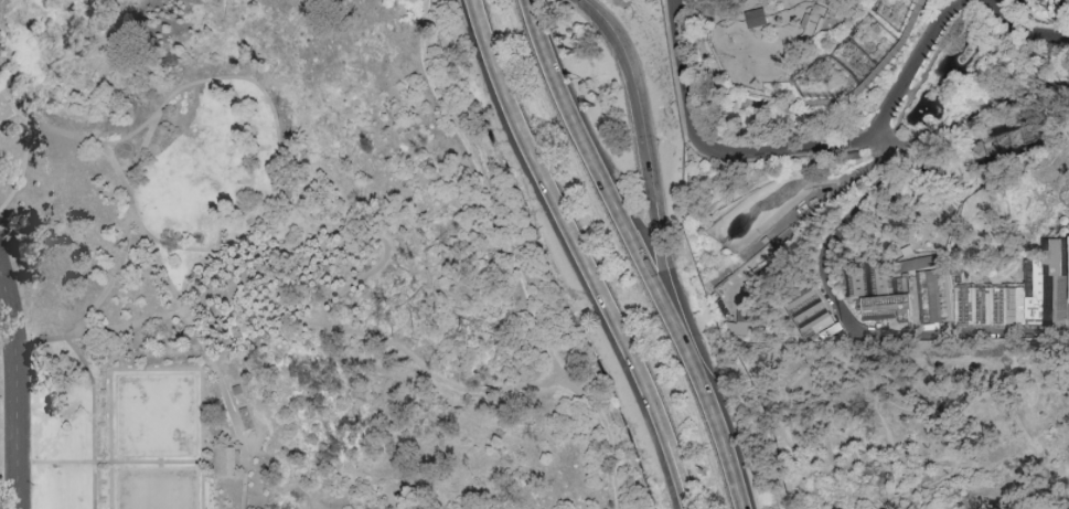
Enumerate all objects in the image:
road: (450, 9)
building: (759, 17)
road: (1022, 32)
road: (880, 70)
road: (905, 75)
road: (762, 89)
road: (802, 102)
road: (11, 106)
road: (277, 141)
road: (702, 144)
road: (855, 150)
road: (141, 156)
building: (848, 156)
road: (920, 156)
road: (22, 171)
road: (650, 190)
road: (611, 198)
road: (803, 221)
park: (534, 254)
road: (584, 254)
road: (514, 258)
road: (193, 274)
building: (872, 279)
road: (171, 290)
building: (930, 295)
building: (1006, 298)
road: (331, 301)
building: (887, 307)
road: (96, 308)
building: (742, 308)
road: (132, 324)
road: (205, 353)
road: (862, 356)
road: (157, 371)
road: (211, 378)
road: (19, 390)
park: (157, 415)
road: (93, 421)
road: (237, 430)
road: (727, 449)
building: (227, 462)
road: (1002, 463)
road: (110, 465)
park: (157, 488)
road: (1035, 492)

